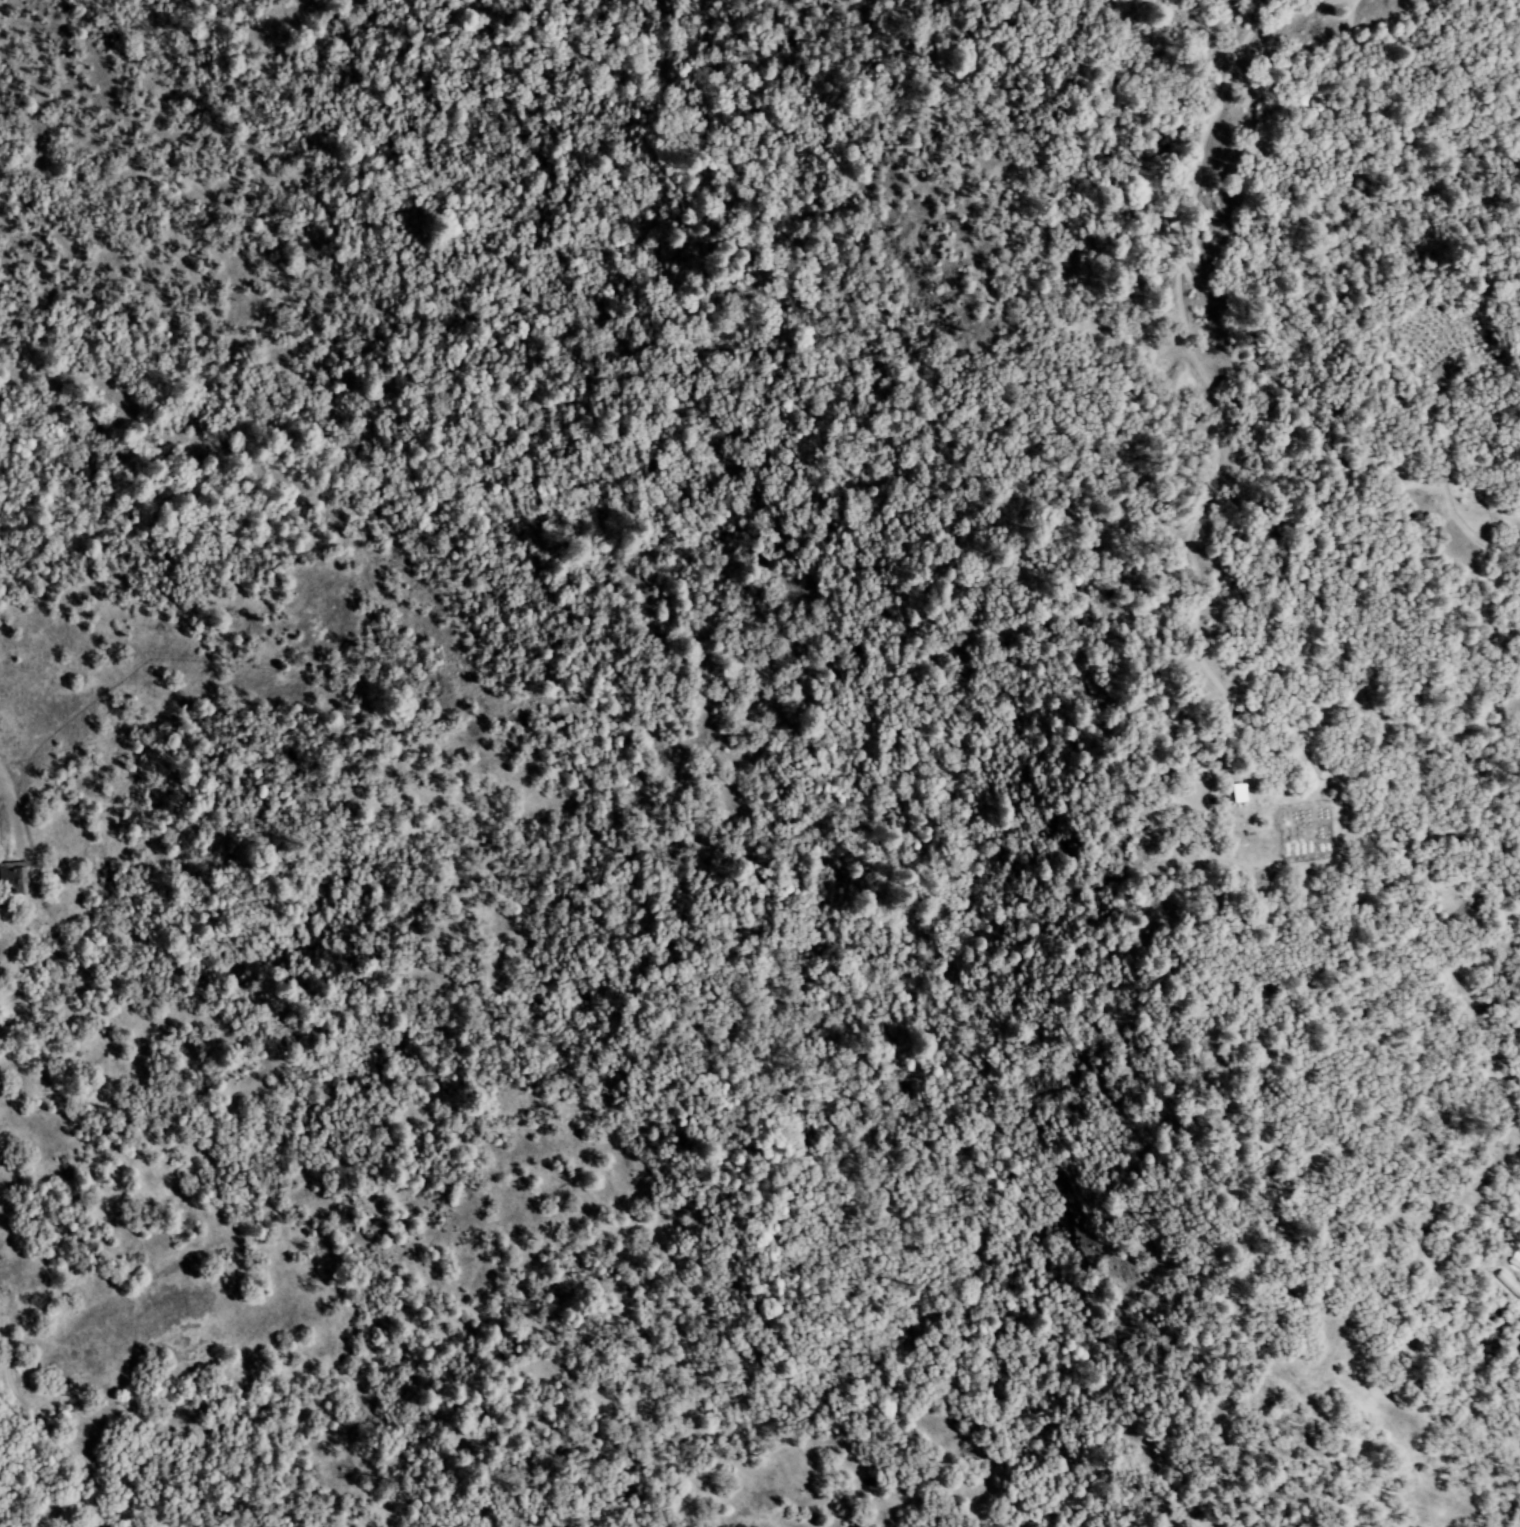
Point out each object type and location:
building: (1237, 794)
building: (15, 878)
building: (1514, 1260)

